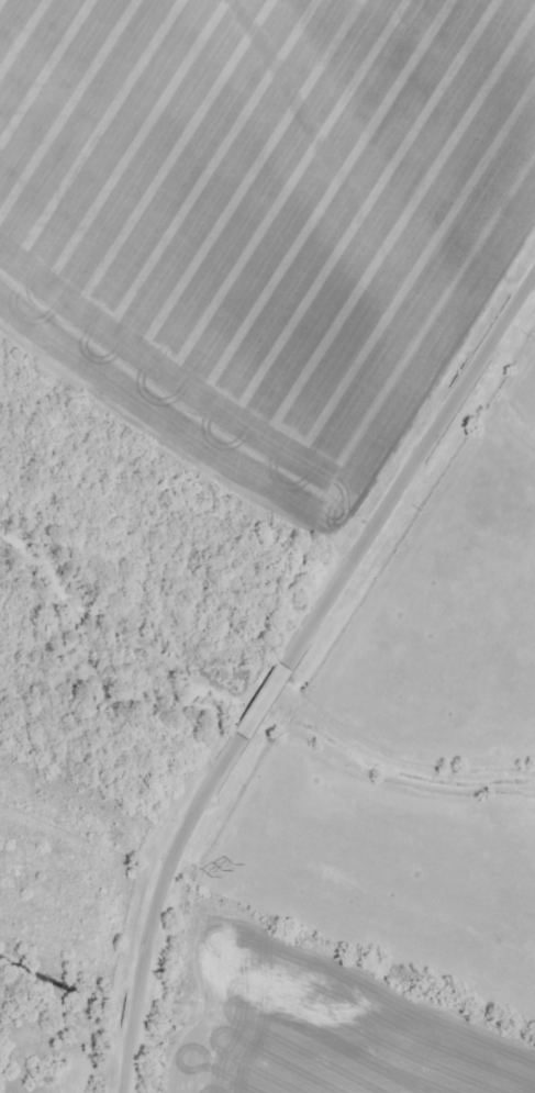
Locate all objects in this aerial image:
road: (282, 665)
power tower: (220, 872)

